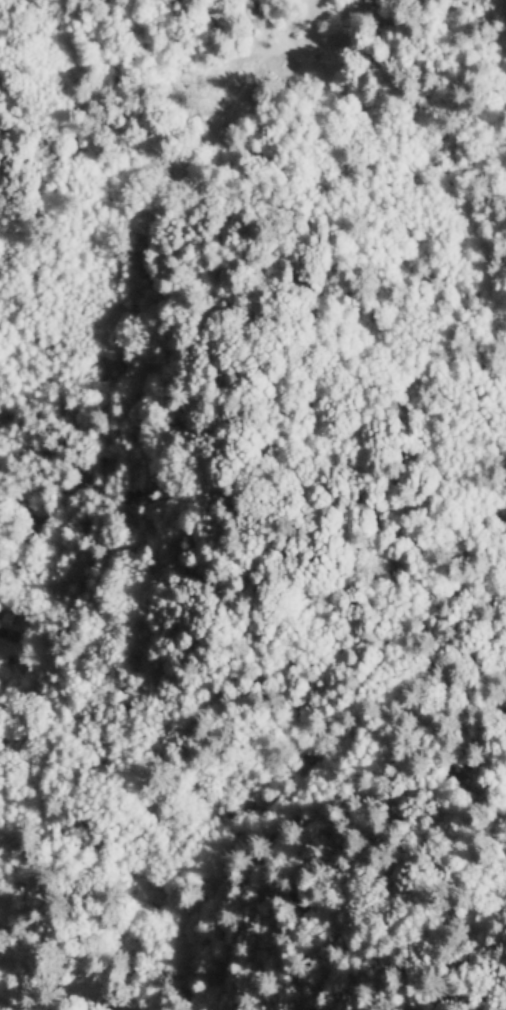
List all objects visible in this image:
road: (30, 57)

